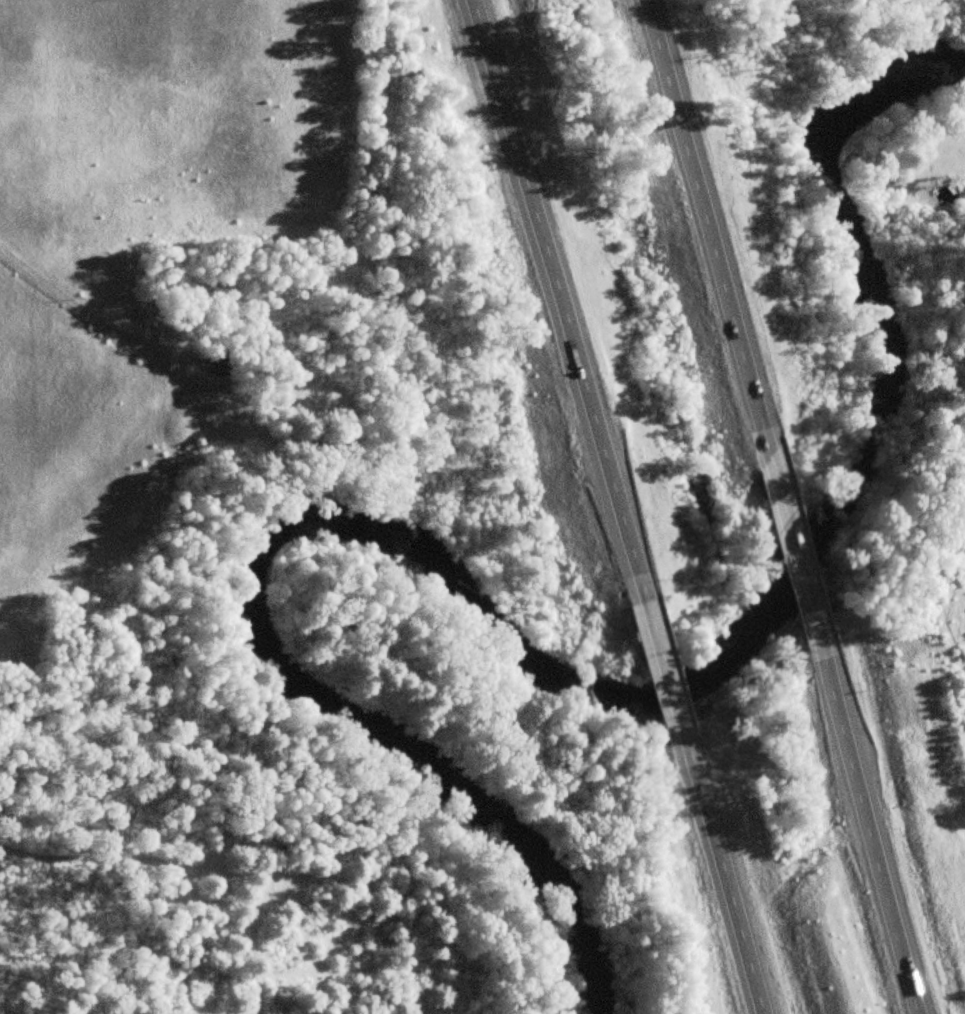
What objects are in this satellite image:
road: (706, 226)
road: (554, 299)
building: (218, 360)
road: (795, 540)
river: (539, 663)
road: (670, 681)
road: (865, 821)
road: (729, 888)

